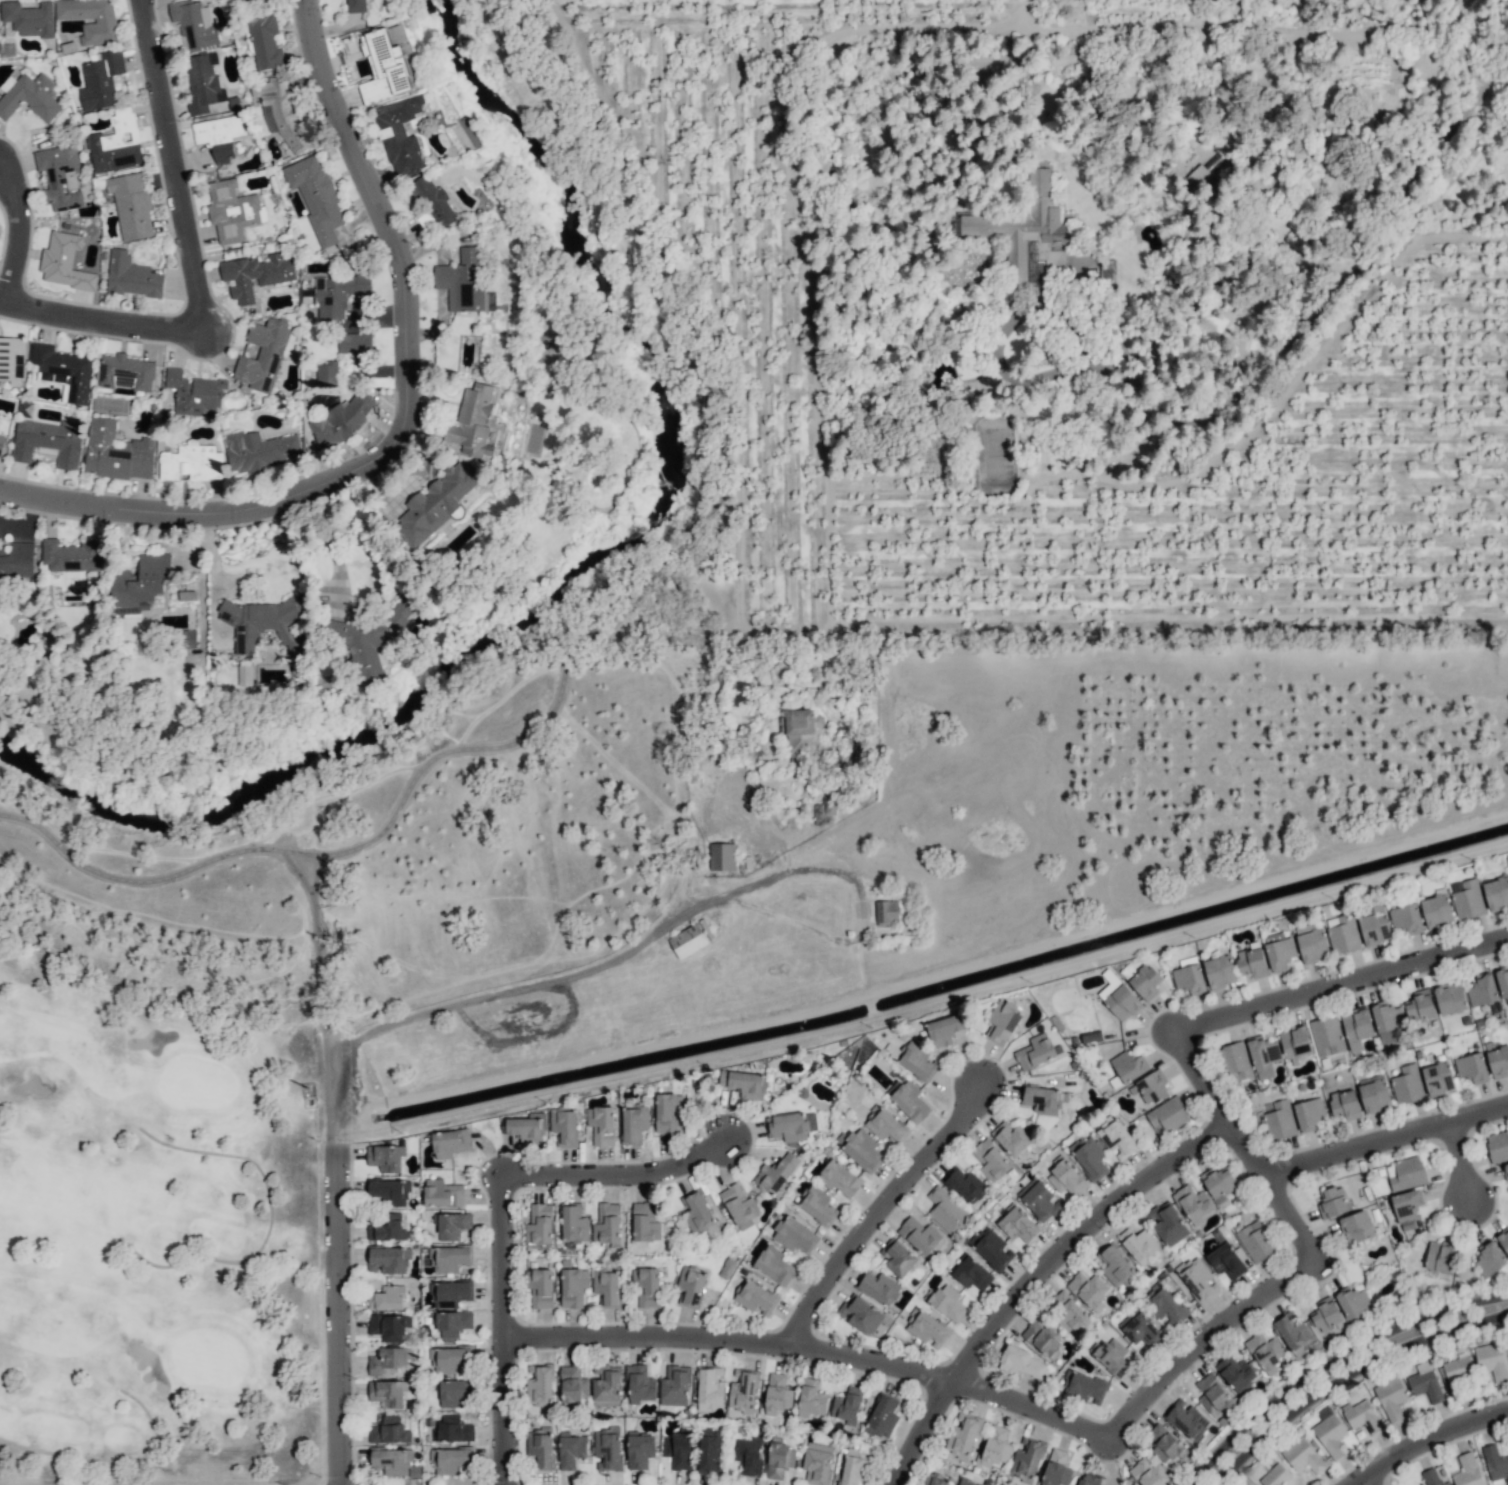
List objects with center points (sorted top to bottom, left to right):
building: (245, 1)
building: (356, 6)
building: (28, 18)
building: (90, 19)
building: (194, 22)
building: (265, 41)
building: (384, 67)
building: (101, 79)
building: (203, 83)
building: (30, 97)
building: (282, 113)
building: (220, 135)
building: (400, 135)
building: (116, 143)
road: (175, 167)
building: (1199, 176)
building: (60, 177)
building: (431, 203)
building: (131, 205)
building: (232, 210)
building: (1026, 232)
road: (19, 241)
building: (65, 262)
building: (1107, 270)
building: (256, 274)
building: (132, 276)
building: (461, 283)
road: (1329, 289)
building: (336, 294)
road: (104, 327)
road: (1004, 329)
building: (354, 342)
building: (262, 355)
building: (12, 359)
building: (65, 370)
building: (126, 372)
building: (326, 374)
building: (195, 392)
building: (341, 420)
road: (404, 421)
building: (477, 422)
building: (48, 441)
building: (1, 443)
building: (259, 451)
building: (117, 452)
building: (192, 462)
building: (436, 502)
road: (332, 545)
building: (72, 555)
building: (17, 559)
building: (140, 582)
building: (262, 623)
road: (585, 628)
building: (186, 638)
building: (370, 638)
building: (243, 675)
building: (801, 733)
building: (722, 856)
building: (1496, 893)
building: (1467, 899)
building: (887, 911)
building: (1436, 911)
building: (1406, 918)
building: (1374, 928)
building: (1343, 933)
building: (688, 940)
building: (1311, 943)
building: (1279, 951)
building: (1251, 962)
building: (1219, 972)
building: (1189, 979)
building: (1145, 981)
building: (1502, 981)
road: (1340, 986)
road: (524, 988)
building: (1482, 990)
building: (1450, 998)
building: (1118, 999)
building: (1419, 1005)
building: (1387, 1020)
building: (1001, 1022)
building: (1356, 1028)
building: (944, 1029)
building: (1327, 1036)
building: (1091, 1037)
building: (1294, 1041)
building: (1035, 1051)
building: (1263, 1056)
building: (1235, 1061)
building: (1498, 1061)
building: (917, 1062)
building: (1128, 1066)
building: (1471, 1068)
building: (1437, 1078)
building: (747, 1084)
building: (1407, 1085)
building: (1151, 1087)
building: (1374, 1094)
building: (1041, 1100)
building: (910, 1102)
building: (1344, 1104)
building: (667, 1113)
building: (1309, 1114)
building: (1167, 1116)
building: (1279, 1120)
building: (634, 1124)
building: (885, 1124)
building: (601, 1125)
building: (791, 1125)
building: (564, 1126)
building: (527, 1128)
building: (1011, 1138)
building: (1116, 1138)
building: (450, 1142)
road: (1384, 1143)
building: (1498, 1146)
road: (1244, 1149)
building: (863, 1150)
building: (1089, 1156)
building: (385, 1157)
building: (990, 1160)
road: (1457, 1166)
building: (1505, 1170)
building: (1405, 1173)
building: (775, 1174)
road: (617, 1176)
building: (839, 1178)
building: (1065, 1178)
building: (1219, 1184)
building: (966, 1185)
building: (389, 1192)
building: (442, 1194)
building: (1041, 1200)
building: (1332, 1202)
building: (1193, 1203)
building: (739, 1205)
building: (817, 1205)
building: (1406, 1205)
building: (945, 1209)
road: (879, 1211)
building: (698, 1215)
building: (645, 1222)
building: (574, 1223)
building: (607, 1223)
building: (1167, 1223)
building: (539, 1224)
building: (452, 1225)
building: (1017, 1225)
building: (1356, 1226)
building: (387, 1229)
building: (794, 1234)
building: (920, 1235)
building: (1503, 1239)
building: (1255, 1242)
building: (1138, 1243)
building: (992, 1247)
building: (1440, 1257)
building: (450, 1258)
park: (144, 1259)
building: (898, 1259)
building: (1489, 1259)
building: (388, 1260)
building: (1227, 1261)
building: (774, 1265)
building: (1116, 1266)
building: (972, 1274)
building: (1195, 1279)
road: (1034, 1280)
building: (606, 1286)
building: (646, 1286)
building: (690, 1286)
building: (540, 1287)
building: (573, 1287)
building: (879, 1287)
building: (1088, 1290)
building: (450, 1293)
building: (387, 1298)
building: (756, 1298)
building: (1353, 1301)
building: (947, 1302)
building: (1164, 1304)
building: (1066, 1312)
building: (1326, 1313)
building: (860, 1314)
road: (341, 1315)
building: (453, 1323)
building: (389, 1326)
building: (927, 1329)
building: (1141, 1329)
road: (501, 1331)
building: (1292, 1333)
building: (1042, 1337)
road: (1202, 1343)
road: (811, 1350)
building: (1265, 1352)
building: (1113, 1355)
road: (1330, 1357)
building: (390, 1360)
building: (451, 1360)
building: (1492, 1361)
building: (1022, 1363)
building: (1458, 1371)
building: (1236, 1372)
road: (1345, 1372)
building: (1425, 1382)
building: (573, 1384)
building: (640, 1384)
building: (540, 1385)
building: (675, 1386)
building: (1083, 1387)
building: (710, 1388)
building: (743, 1391)
building: (387, 1393)
building: (453, 1393)
building: (777, 1394)
building: (1212, 1394)
building: (811, 1398)
building: (1391, 1398)
building: (847, 1405)
building: (1361, 1416)
building: (882, 1417)
building: (1187, 1419)
building: (453, 1429)
building: (389, 1431)
building: (1329, 1432)
building: (963, 1435)
road: (1428, 1441)
building: (1165, 1444)
building: (995, 1446)
building: (540, 1447)
building: (607, 1449)
building: (640, 1449)
building: (710, 1449)
building: (571, 1450)
building: (678, 1450)
building: (749, 1455)
building: (1304, 1456)
building: (1027, 1458)
building: (451, 1460)
building: (780, 1460)
building: (395, 1462)
building: (817, 1463)
building: (1495, 1463)
building: (854, 1467)
building: (1056, 1468)
building: (1467, 1470)
building: (1149, 1473)
building: (1275, 1475)
building: (1431, 1477)
building: (1089, 1479)
building: (934, 1480)
building: (967, 1482)
road: (1367, 1482)

